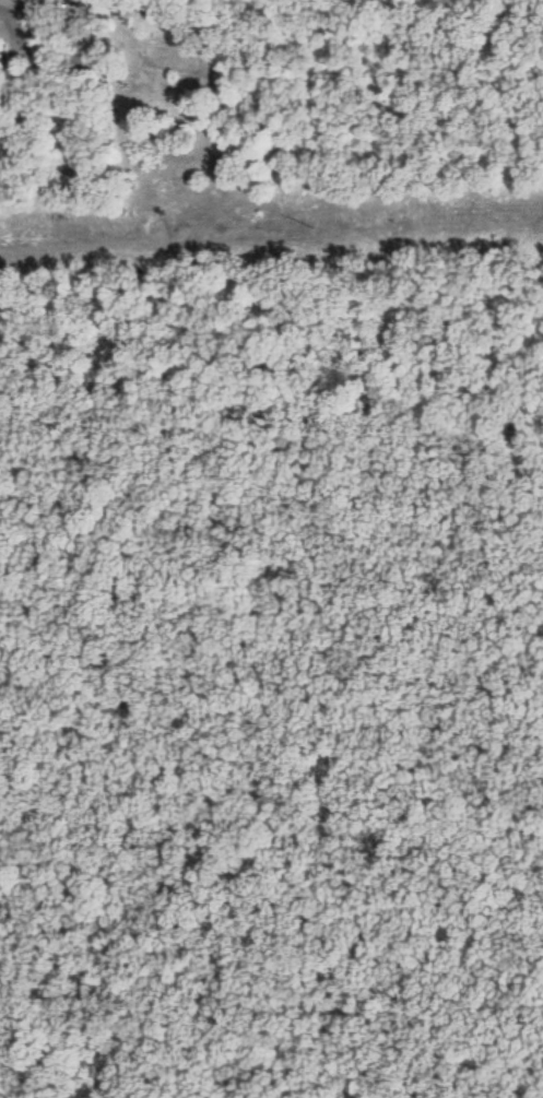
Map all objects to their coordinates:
road: (138, 708)

